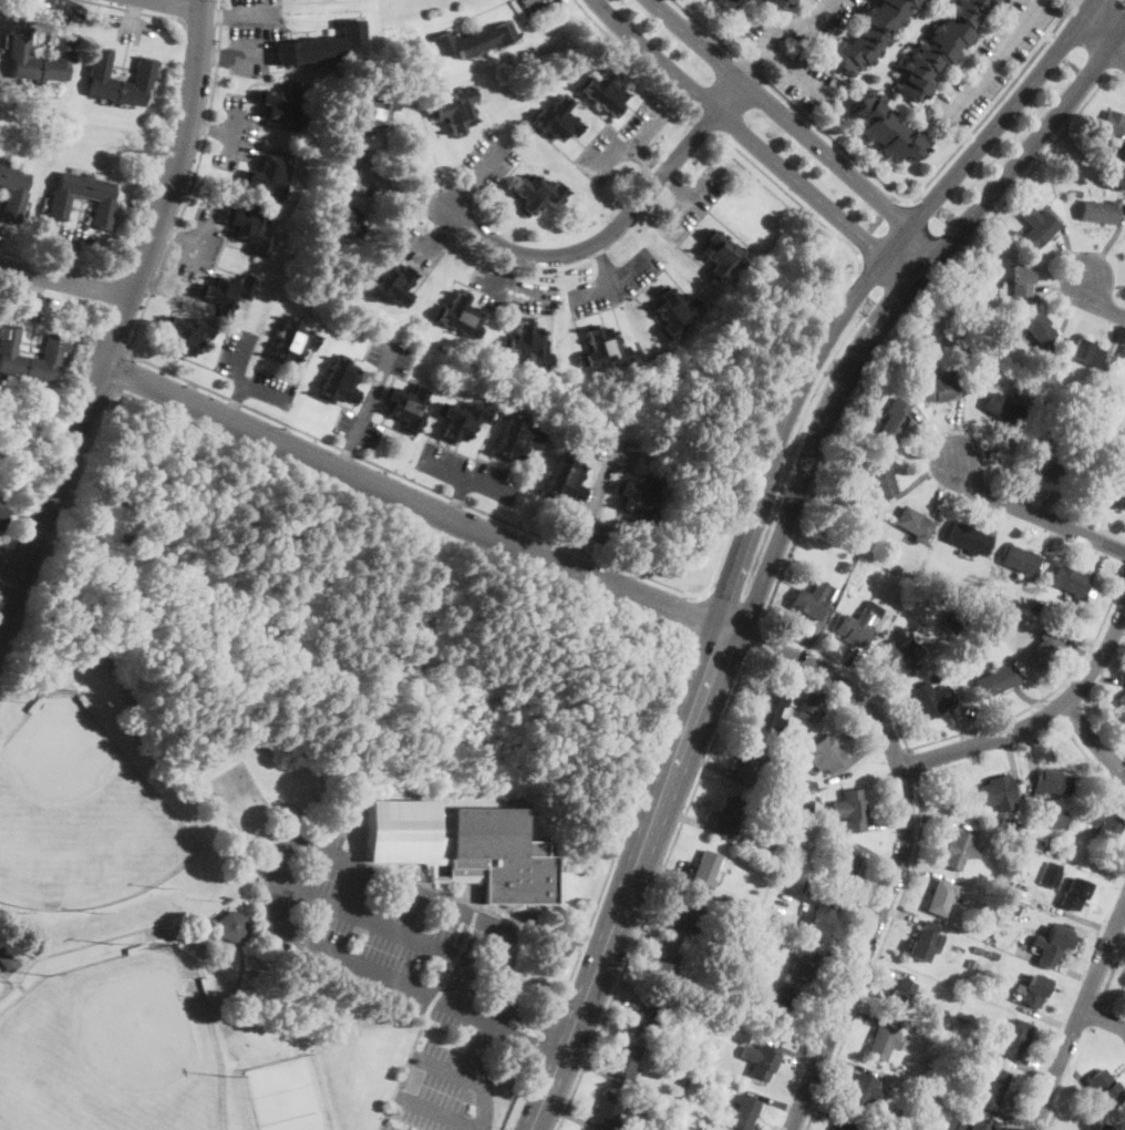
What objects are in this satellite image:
building: (726, 2)
road: (180, 3)
building: (778, 3)
parking lot: (531, 6)
road: (1077, 6)
road: (1090, 7)
road: (132, 11)
road: (216, 12)
road: (255, 14)
road: (202, 23)
parking lot: (799, 25)
road: (1100, 25)
road: (777, 30)
building: (870, 33)
parking lot: (251, 34)
road: (1119, 39)
building: (475, 40)
building: (319, 45)
road: (1119, 45)
building: (940, 47)
building: (19, 48)
road: (223, 54)
road: (998, 54)
road: (633, 59)
parking lot: (995, 59)
road: (1117, 60)
road: (794, 71)
building: (143, 76)
road: (1117, 76)
parking lot: (807, 83)
building: (603, 91)
road: (789, 101)
building: (281, 104)
road: (995, 104)
building: (373, 110)
building: (458, 110)
building: (556, 120)
road: (705, 122)
road: (230, 123)
road: (642, 125)
road: (208, 126)
building: (1114, 126)
road: (796, 127)
building: (888, 130)
parking lot: (622, 141)
road: (629, 142)
road: (755, 144)
parking lot: (488, 160)
road: (475, 173)
building: (270, 176)
road: (393, 183)
road: (677, 185)
building: (13, 191)
building: (1077, 193)
building: (537, 194)
road: (789, 194)
road: (688, 197)
building: (59, 201)
parking lot: (688, 204)
building: (1098, 210)
road: (919, 216)
building: (337, 219)
road: (618, 226)
building: (1035, 227)
building: (250, 230)
road: (884, 233)
road: (177, 234)
parking lot: (200, 242)
road: (197, 243)
road: (434, 243)
parking lot: (416, 247)
building: (720, 254)
road: (58, 263)
road: (602, 263)
road: (504, 277)
road: (135, 280)
road: (611, 280)
building: (1020, 280)
road: (64, 281)
parking lot: (613, 282)
building: (390, 286)
parking lot: (492, 287)
building: (226, 294)
building: (953, 295)
parking lot: (530, 296)
road: (1102, 300)
road: (895, 307)
building: (674, 310)
road: (120, 317)
building: (462, 317)
road: (898, 326)
building: (1038, 328)
building: (187, 336)
building: (293, 340)
building: (528, 345)
building: (52, 349)
building: (603, 349)
building: (1085, 353)
building: (980, 355)
building: (961, 356)
parking lot: (230, 369)
road: (125, 372)
building: (1029, 378)
road: (242, 379)
building: (339, 381)
parking lot: (375, 386)
building: (938, 388)
road: (372, 394)
road: (237, 400)
building: (406, 408)
road: (252, 409)
building: (1001, 409)
road: (766, 417)
building: (461, 421)
building: (894, 421)
building: (1122, 428)
building: (515, 439)
building: (1124, 442)
building: (1124, 448)
parking lot: (616, 453)
road: (344, 454)
building: (1042, 465)
parking lot: (469, 473)
road: (466, 480)
building: (565, 480)
building: (881, 480)
building: (1115, 490)
road: (599, 495)
road: (456, 499)
road: (412, 501)
building: (639, 502)
building: (0, 510)
road: (1034, 514)
building: (915, 524)
road: (746, 531)
road: (446, 536)
building: (967, 538)
road: (574, 556)
building: (1019, 561)
building: (844, 566)
road: (10, 572)
building: (1069, 581)
building: (906, 592)
building: (813, 599)
road: (692, 616)
building: (951, 623)
building: (856, 628)
road: (755, 638)
building: (1043, 649)
building: (897, 656)
building: (942, 667)
road: (850, 670)
building: (997, 680)
road: (1046, 697)
building: (929, 699)
building: (1121, 701)
building: (34, 703)
building: (84, 703)
building: (809, 706)
building: (771, 708)
road: (1050, 710)
road: (1039, 719)
road: (1093, 740)
building: (825, 754)
road: (1090, 759)
building: (749, 763)
road: (914, 763)
park: (231, 781)
building: (1050, 782)
building: (807, 787)
building: (998, 793)
building: (786, 801)
building: (1072, 802)
park: (297, 804)
park: (247, 808)
building: (806, 808)
building: (850, 811)
park: (80, 812)
building: (726, 816)
building: (1051, 816)
building: (1104, 822)
building: (1009, 826)
building: (401, 829)
road: (902, 842)
building: (1046, 844)
building: (959, 850)
building: (1013, 850)
building: (502, 854)
building: (772, 854)
building: (788, 864)
building: (842, 864)
building: (705, 869)
building: (1050, 874)
road: (630, 880)
building: (1003, 884)
building: (782, 885)
road: (653, 890)
building: (811, 891)
building: (1071, 892)
building: (941, 896)
road: (464, 901)
road: (443, 904)
building: (992, 905)
building: (751, 908)
building: (766, 911)
building: (1010, 912)
building: (687, 916)
building: (820, 917)
building: (231, 926)
road: (389, 926)
building: (756, 939)
road: (95, 941)
building: (922, 941)
building: (1051, 942)
building: (136, 948)
building: (977, 951)
road: (337, 954)
road: (878, 955)
building: (6, 956)
building: (993, 956)
building: (971, 962)
building: (802, 965)
parking lot: (404, 966)
building: (663, 966)
road: (1112, 973)
park: (2, 984)
building: (205, 987)
building: (1033, 989)
building: (735, 990)
building: (904, 994)
building: (958, 1003)
building: (780, 1011)
building: (952, 1013)
building: (646, 1015)
road: (1078, 1017)
road: (1094, 1017)
road: (1103, 1018)
road: (483, 1034)
building: (991, 1037)
road: (546, 1038)
building: (1013, 1039)
building: (883, 1041)
building: (713, 1044)
park: (114, 1049)
building: (969, 1057)
building: (758, 1059)
building: (623, 1060)
building: (687, 1067)
road: (448, 1068)
building: (700, 1068)
road: (1069, 1080)
building: (941, 1081)
park: (301, 1085)
building: (992, 1088)
building: (1104, 1088)
building: (866, 1091)
park: (267, 1092)
road: (523, 1096)
building: (607, 1111)
road: (441, 1112)
building: (743, 1112)
building: (907, 1113)
building: (1123, 1118)
park: (311, 1120)
park: (278, 1124)
building: (901, 1124)
building: (969, 1124)
building: (844, 1126)
building: (1104, 1126)
building: (684, 1127)

